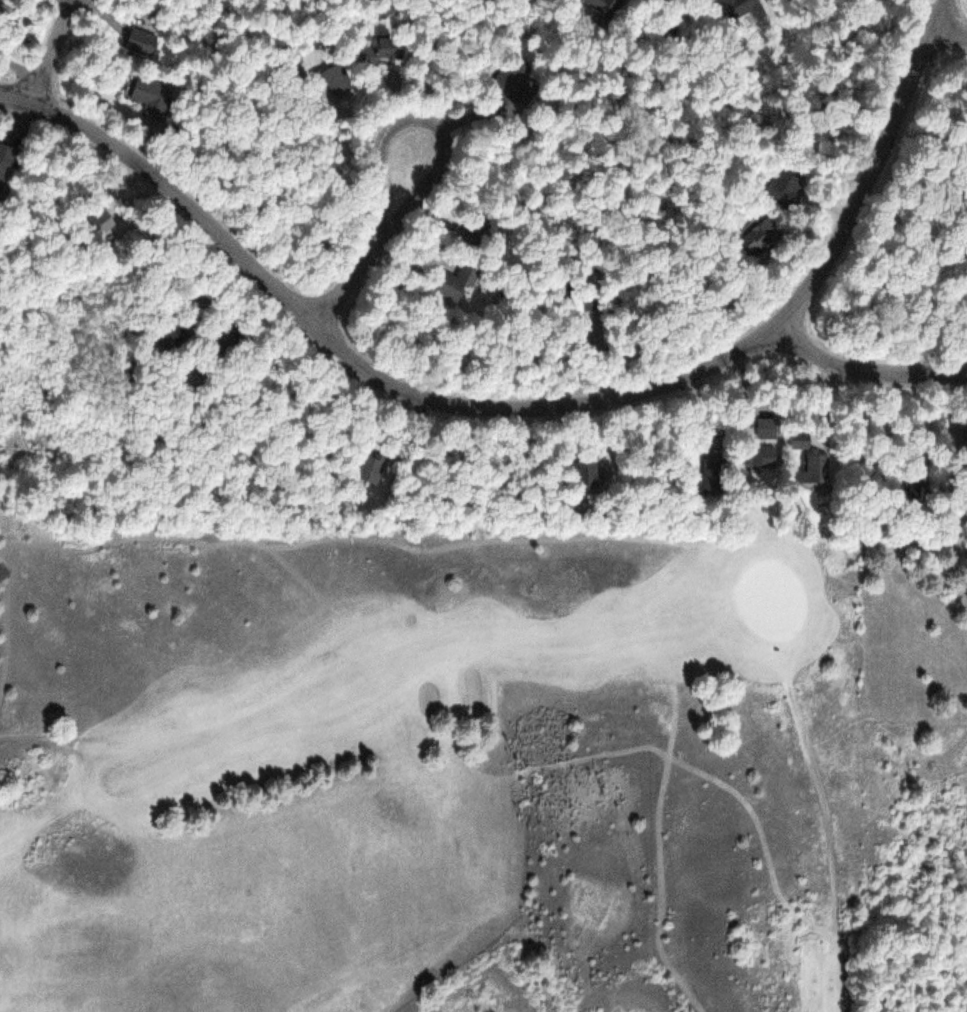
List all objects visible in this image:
road: (65, 5)
road: (72, 5)
road: (947, 31)
road: (45, 54)
building: (336, 80)
road: (443, 160)
building: (5, 166)
building: (783, 188)
building: (100, 225)
building: (576, 302)
building: (175, 331)
road: (863, 372)
road: (526, 408)
building: (765, 428)
building: (798, 441)
building: (762, 458)
building: (371, 468)
building: (815, 469)
building: (598, 473)
building: (719, 481)
road: (28, 735)
park: (458, 799)
road: (828, 851)

